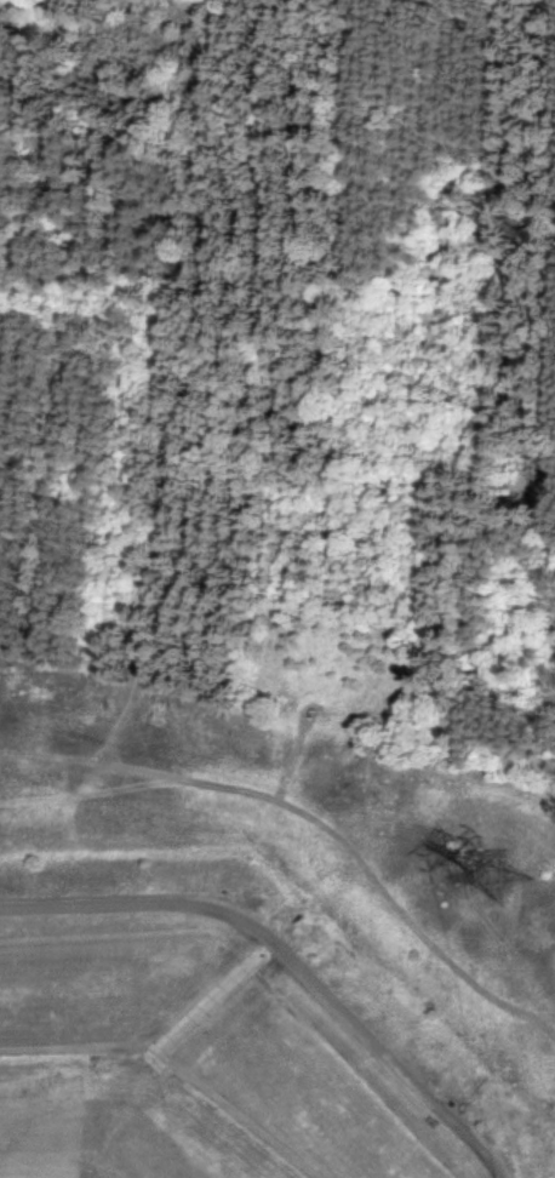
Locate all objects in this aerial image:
power tower: (519, 888)

